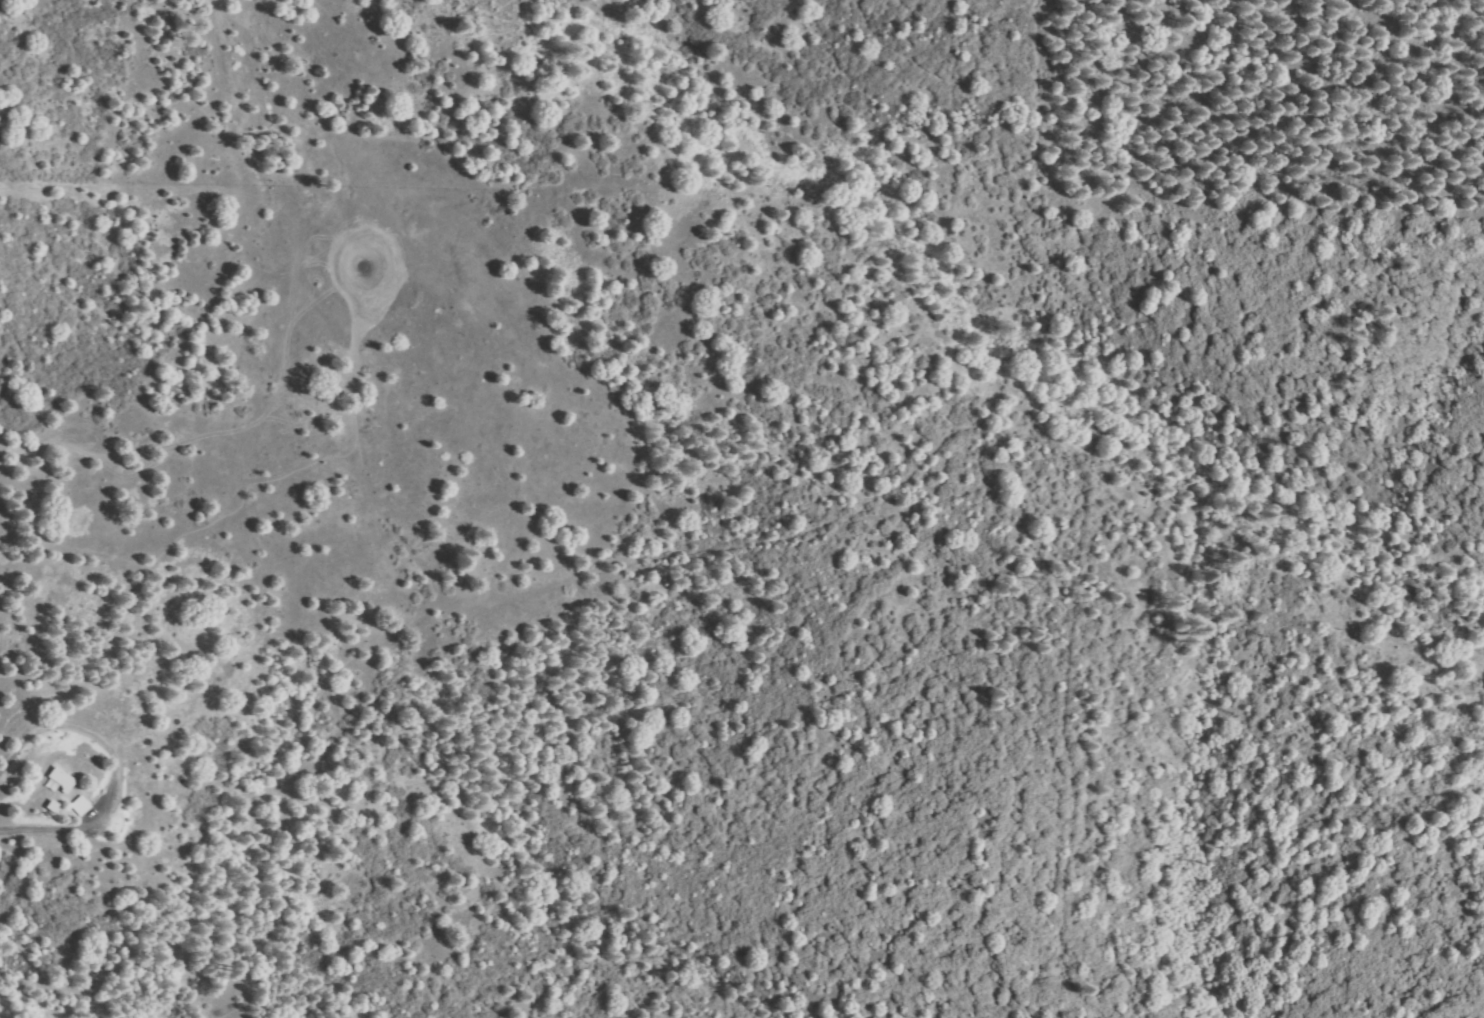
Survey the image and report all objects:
building: (62, 779)
building: (81, 806)

